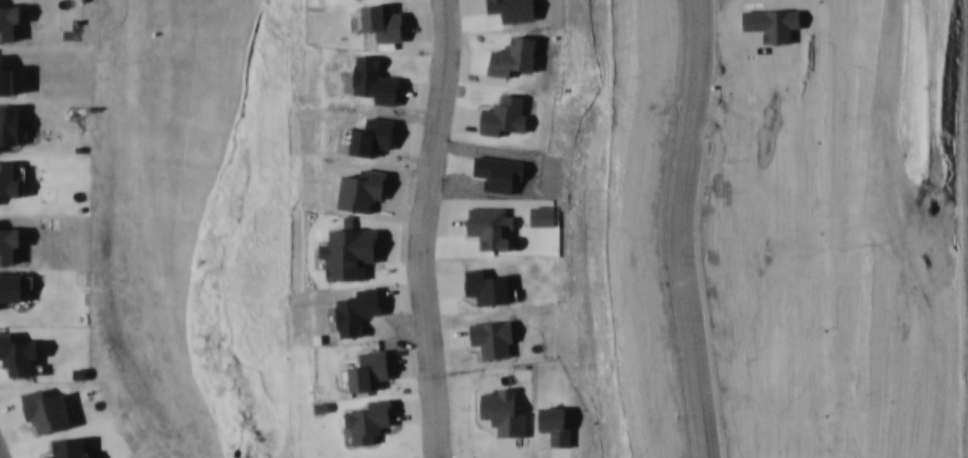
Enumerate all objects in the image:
road: (414, 228)

